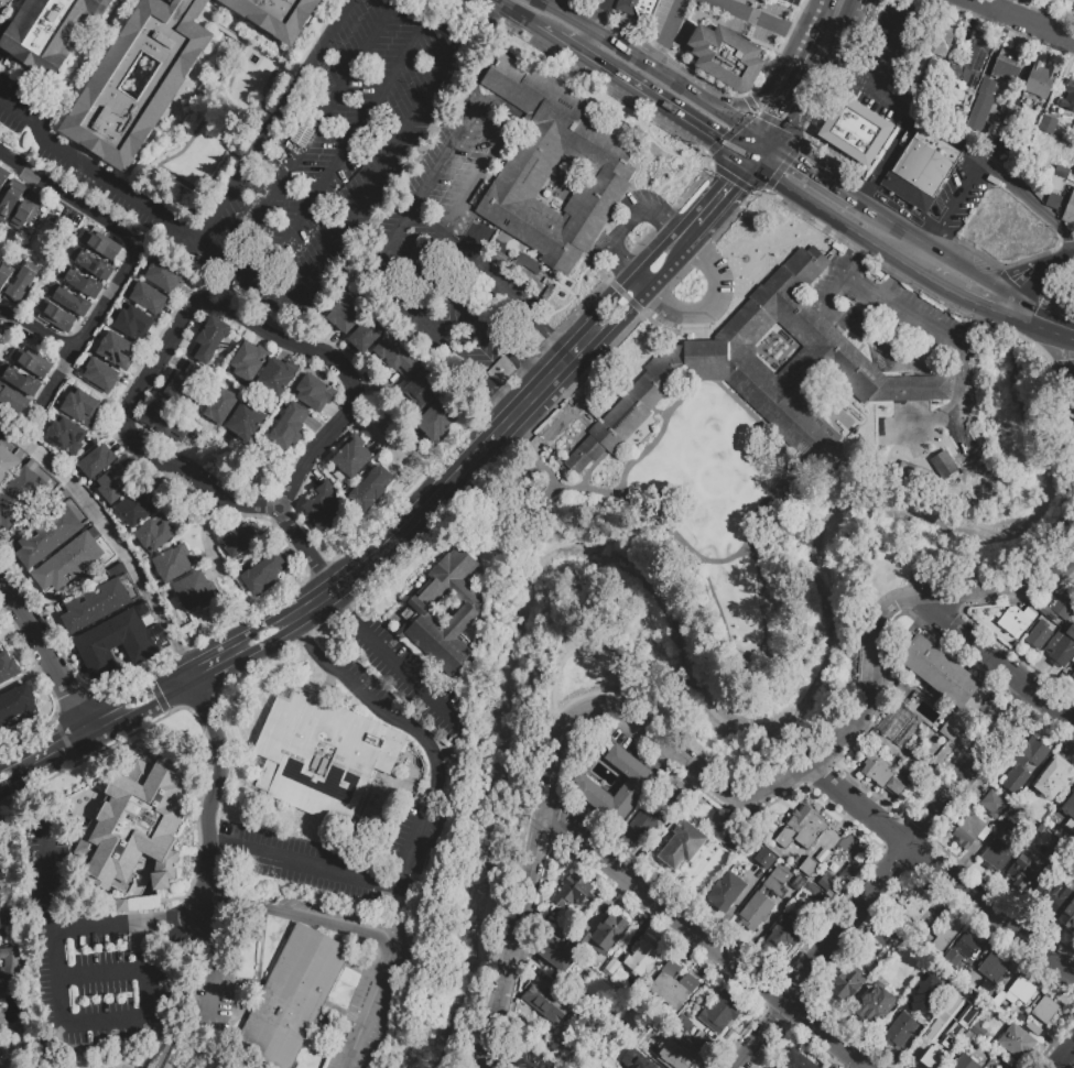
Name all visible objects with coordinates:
building: (1071, 0)
road: (846, 1)
road: (849, 1)
parking lot: (791, 2)
parking lot: (1, 3)
parking lot: (604, 4)
road: (608, 4)
building: (636, 8)
road: (824, 9)
road: (520, 10)
building: (275, 15)
road: (844, 15)
road: (603, 18)
parking lot: (751, 18)
road: (762, 19)
road: (1027, 19)
parking lot: (670, 25)
road: (547, 29)
road: (665, 31)
building: (46, 32)
road: (592, 39)
building: (940, 40)
road: (809, 43)
road: (634, 50)
road: (495, 53)
building: (725, 56)
building: (969, 64)
parking lot: (887, 65)
building: (1006, 67)
road: (820, 69)
building: (171, 76)
building: (1039, 79)
road: (650, 95)
building: (1068, 95)
road: (762, 97)
road: (886, 99)
road: (778, 101)
building: (981, 103)
traffic signals: (771, 115)
road: (738, 120)
road: (278, 121)
building: (1045, 123)
road: (788, 127)
road: (315, 132)
building: (851, 133)
traffic signals: (716, 138)
road: (767, 140)
road: (751, 144)
road: (348, 151)
parking lot: (300, 154)
road: (768, 156)
road: (446, 157)
traffic signals: (793, 157)
road: (885, 159)
road: (485, 160)
road: (794, 160)
road: (751, 161)
building: (606, 164)
building: (921, 168)
building: (2, 179)
road: (824, 179)
traffic signals: (740, 188)
road: (848, 196)
road: (731, 197)
parking lot: (958, 197)
building: (10, 199)
road: (1031, 200)
building: (1053, 200)
road: (820, 207)
building: (1068, 209)
parking lot: (899, 210)
road: (954, 210)
building: (28, 211)
road: (691, 216)
road: (874, 221)
road: (627, 226)
road: (121, 230)
road: (696, 238)
road: (391, 241)
building: (101, 244)
road: (856, 251)
parking lot: (452, 257)
road: (924, 258)
road: (50, 259)
building: (91, 263)
road: (1055, 264)
road: (669, 266)
building: (4, 273)
building: (165, 274)
building: (79, 281)
building: (20, 284)
road: (31, 288)
road: (1020, 288)
road: (302, 292)
road: (983, 292)
building: (149, 297)
building: (67, 298)
road: (890, 301)
road: (610, 302)
road: (451, 303)
road: (196, 305)
road: (707, 305)
building: (55, 314)
building: (345, 314)
road: (621, 316)
road: (1031, 319)
building: (133, 322)
road: (33, 327)
building: (366, 335)
building: (209, 338)
road: (1066, 338)
road: (555, 341)
road: (886, 349)
building: (117, 350)
building: (397, 357)
building: (29, 359)
building: (248, 361)
road: (1066, 362)
building: (763, 369)
road: (529, 373)
building: (100, 374)
building: (275, 377)
road: (53, 379)
building: (18, 380)
building: (181, 382)
road: (84, 388)
building: (422, 389)
building: (314, 392)
road: (503, 396)
building: (12, 400)
building: (221, 405)
building: (80, 406)
building: (883, 407)
building: (246, 419)
road: (953, 419)
building: (165, 422)
building: (435, 422)
building: (290, 426)
building: (0, 432)
building: (66, 434)
road: (370, 434)
building: (352, 457)
building: (96, 460)
building: (9, 461)
building: (942, 464)
park: (258, 472)
building: (112, 483)
building: (969, 483)
building: (371, 487)
building: (19, 492)
road: (270, 506)
building: (135, 508)
building: (322, 509)
road: (405, 524)
building: (153, 533)
building: (47, 536)
road: (111, 536)
building: (239, 540)
road: (300, 542)
building: (73, 560)
building: (171, 564)
building: (116, 569)
building: (264, 573)
building: (195, 590)
road: (340, 598)
building: (94, 604)
building: (1057, 607)
building: (443, 610)
building: (1016, 620)
road: (297, 628)
building: (1039, 634)
building: (120, 641)
building: (1061, 646)
road: (46, 655)
road: (994, 662)
park: (705, 664)
building: (7, 667)
road: (401, 667)
building: (941, 673)
building: (1072, 676)
building: (900, 691)
building: (905, 701)
road: (139, 704)
building: (19, 712)
building: (969, 716)
building: (894, 722)
building: (908, 732)
road: (46, 754)
building: (322, 754)
building: (1024, 763)
road: (697, 772)
building: (882, 774)
building: (1052, 777)
road: (2, 778)
building: (634, 786)
road: (210, 794)
building: (991, 803)
building: (1070, 807)
building: (1011, 817)
building: (640, 826)
building: (137, 827)
road: (416, 827)
building: (802, 828)
building: (970, 829)
building: (4, 837)
building: (734, 838)
building: (682, 844)
building: (815, 852)
building: (822, 856)
building: (996, 856)
building: (764, 857)
building: (795, 860)
building: (0, 861)
building: (807, 867)
building: (832, 867)
building: (1022, 870)
road: (941, 873)
road: (883, 880)
building: (775, 882)
building: (798, 883)
building: (824, 883)
building: (571, 890)
building: (1045, 890)
building: (725, 891)
building: (811, 891)
building: (386, 896)
building: (120, 904)
building: (916, 904)
building: (1061, 904)
building: (756, 911)
road: (56, 916)
road: (171, 919)
building: (1070, 922)
building: (0, 927)
road: (360, 929)
building: (561, 931)
building: (607, 933)
building: (883, 935)
building: (943, 935)
building: (784, 936)
building: (583, 938)
road: (704, 942)
building: (966, 945)
building: (557, 953)
building: (642, 955)
building: (952, 957)
building: (987, 965)
road: (191, 967)
building: (610, 967)
road: (102, 968)
building: (996, 971)
building: (10, 972)
building: (665, 979)
building: (847, 982)
building: (681, 991)
building: (1016, 992)
building: (923, 994)
building: (293, 996)
building: (877, 1000)
building: (549, 1001)
building: (1044, 1010)
building: (719, 1012)
road: (106, 1017)
building: (685, 1023)
building: (646, 1024)
building: (1032, 1027)
building: (900, 1028)
building: (976, 1028)
building: (944, 1032)
building: (958, 1033)
building: (1021, 1035)
building: (967, 1037)
road: (169, 1042)
building: (974, 1044)
building: (1013, 1046)
park: (159, 1050)
building: (629, 1057)
building: (686, 1057)
road: (1065, 1057)
building: (530, 1059)
building: (795, 1061)
building: (965, 1062)
building: (816, 1067)

